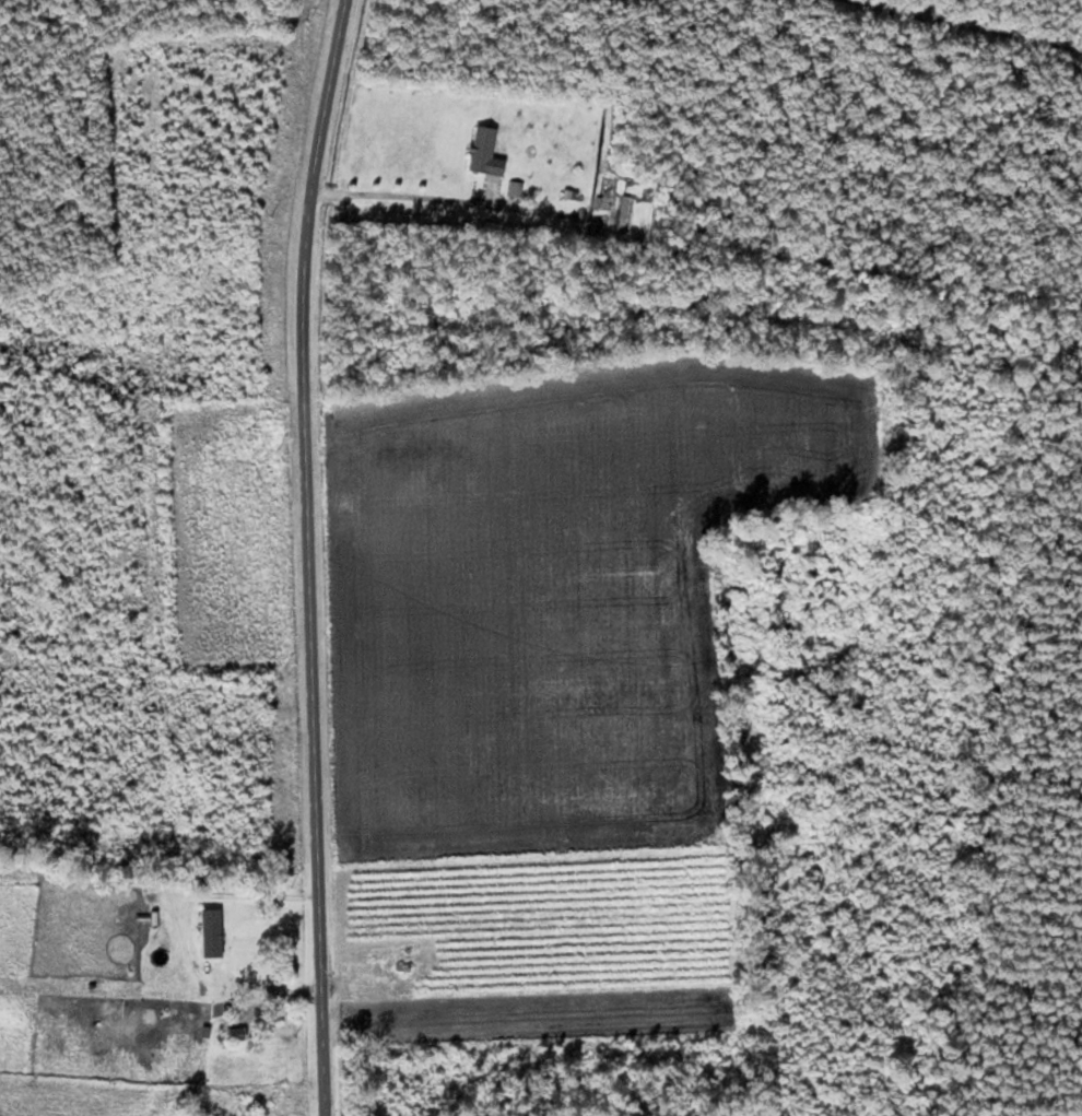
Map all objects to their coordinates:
building: (486, 150)
building: (624, 211)
road: (316, 556)
building: (216, 928)
building: (239, 1033)

